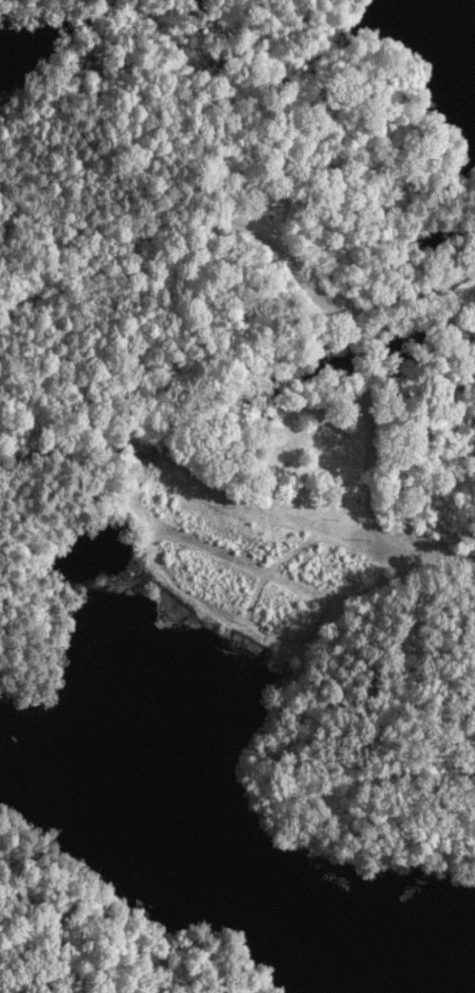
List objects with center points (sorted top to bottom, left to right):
road: (238, 233)
road: (409, 554)

